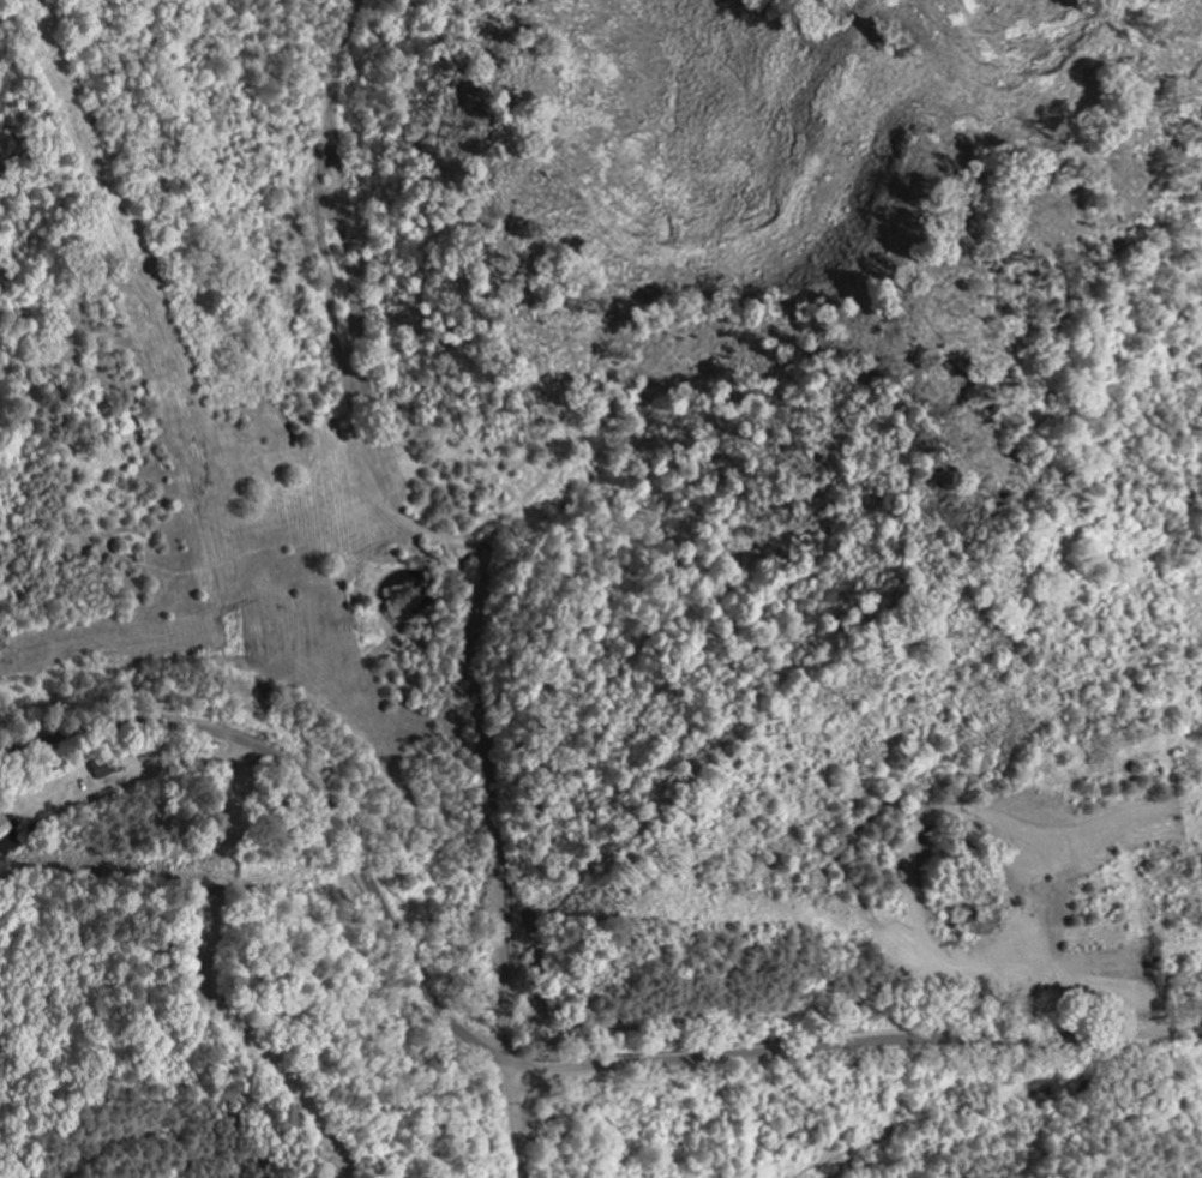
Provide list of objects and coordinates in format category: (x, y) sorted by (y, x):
building: (103, 769)
building: (6, 834)
road: (519, 1063)

